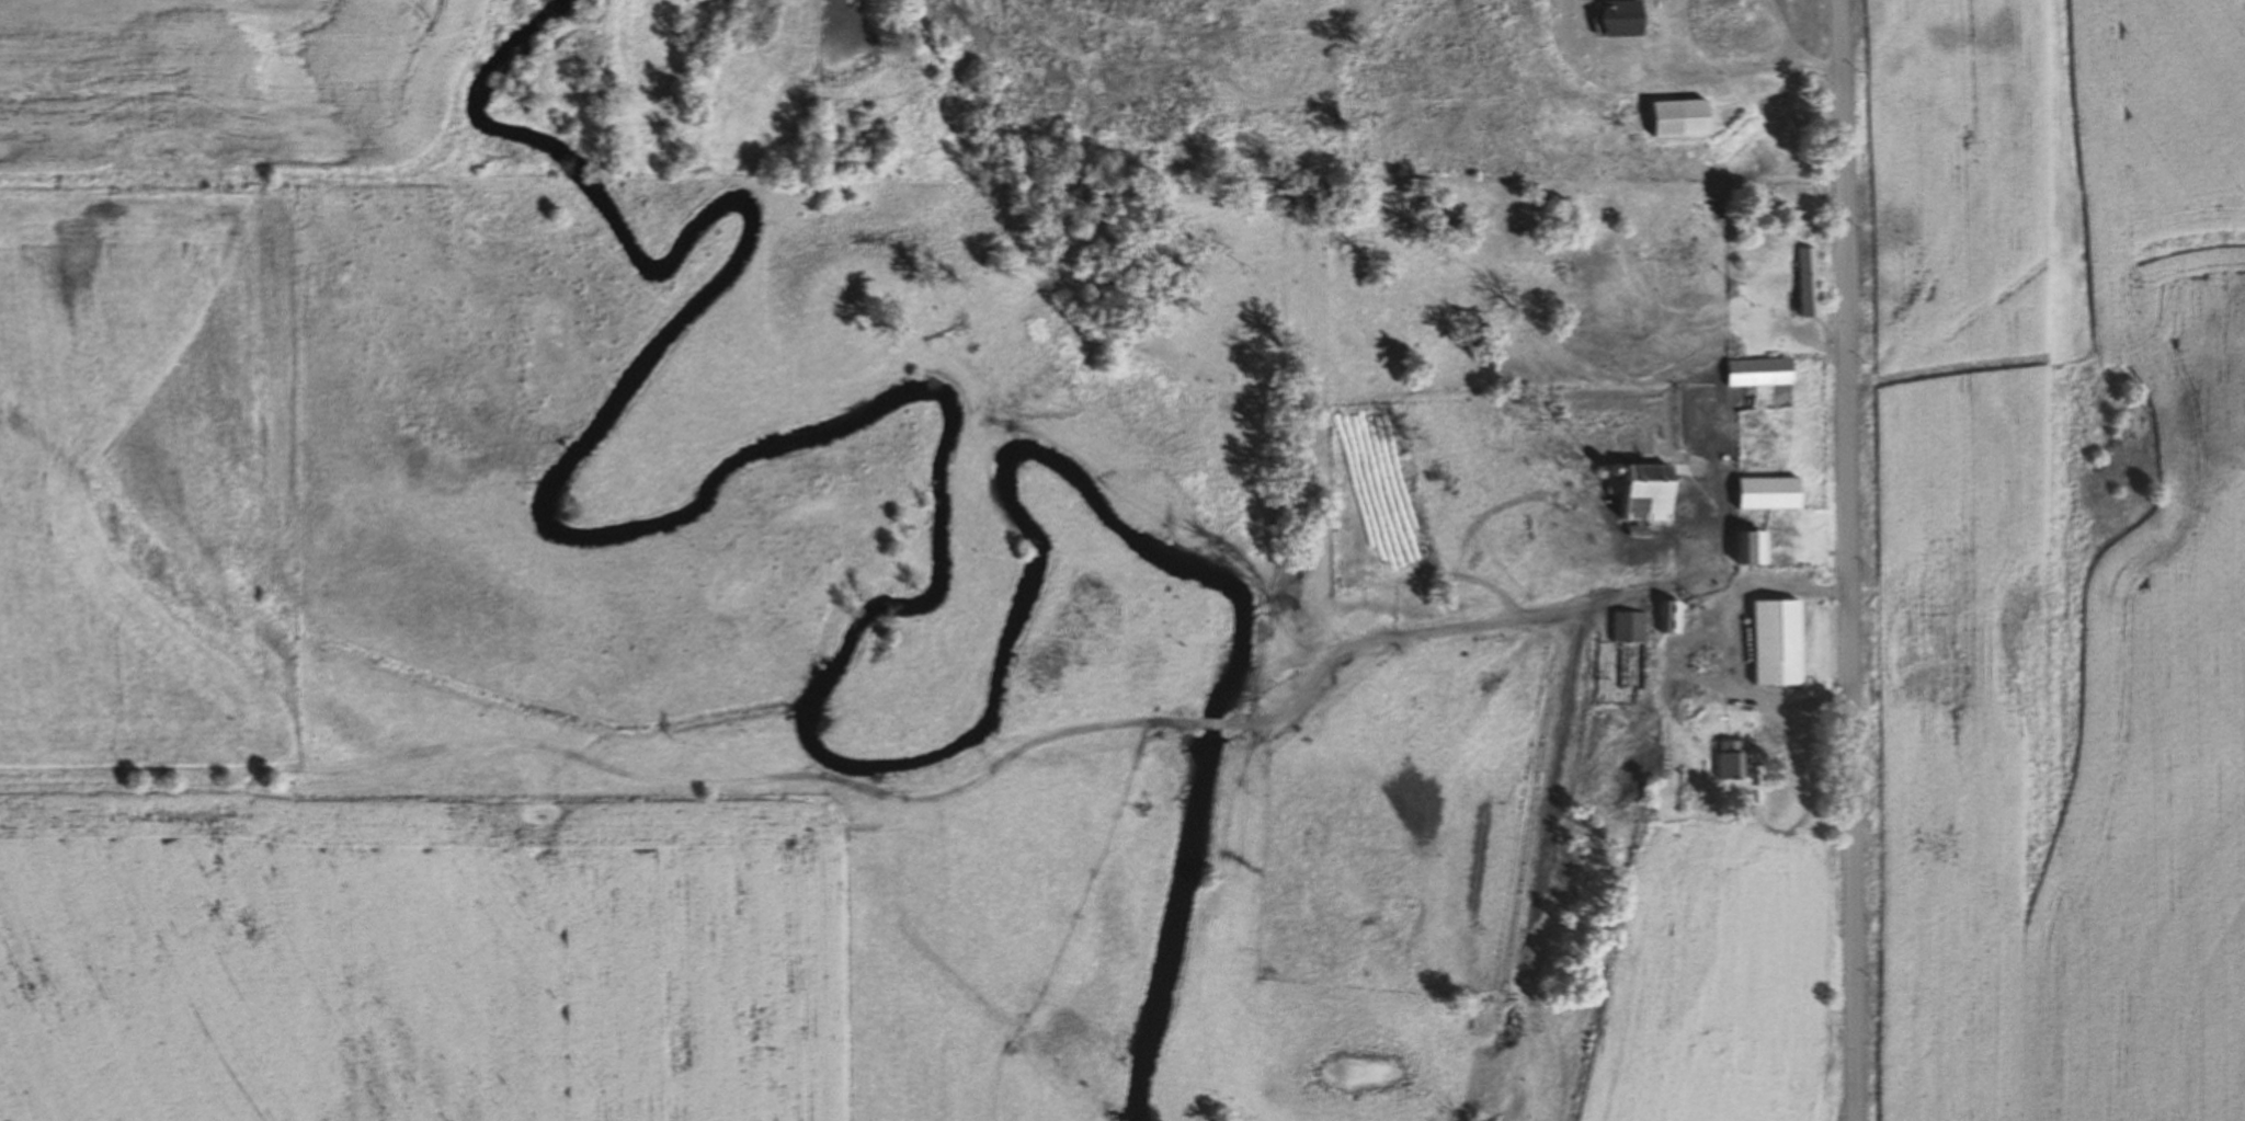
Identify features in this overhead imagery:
building: (1743, 35)
building: (1686, 116)
building: (1813, 282)
building: (1764, 371)
building: (1649, 491)
building: (1757, 546)
road: (1845, 560)
river: (928, 571)
building: (1672, 615)
building: (1630, 627)
building: (1781, 641)
building: (1520, 699)
building: (1732, 759)

